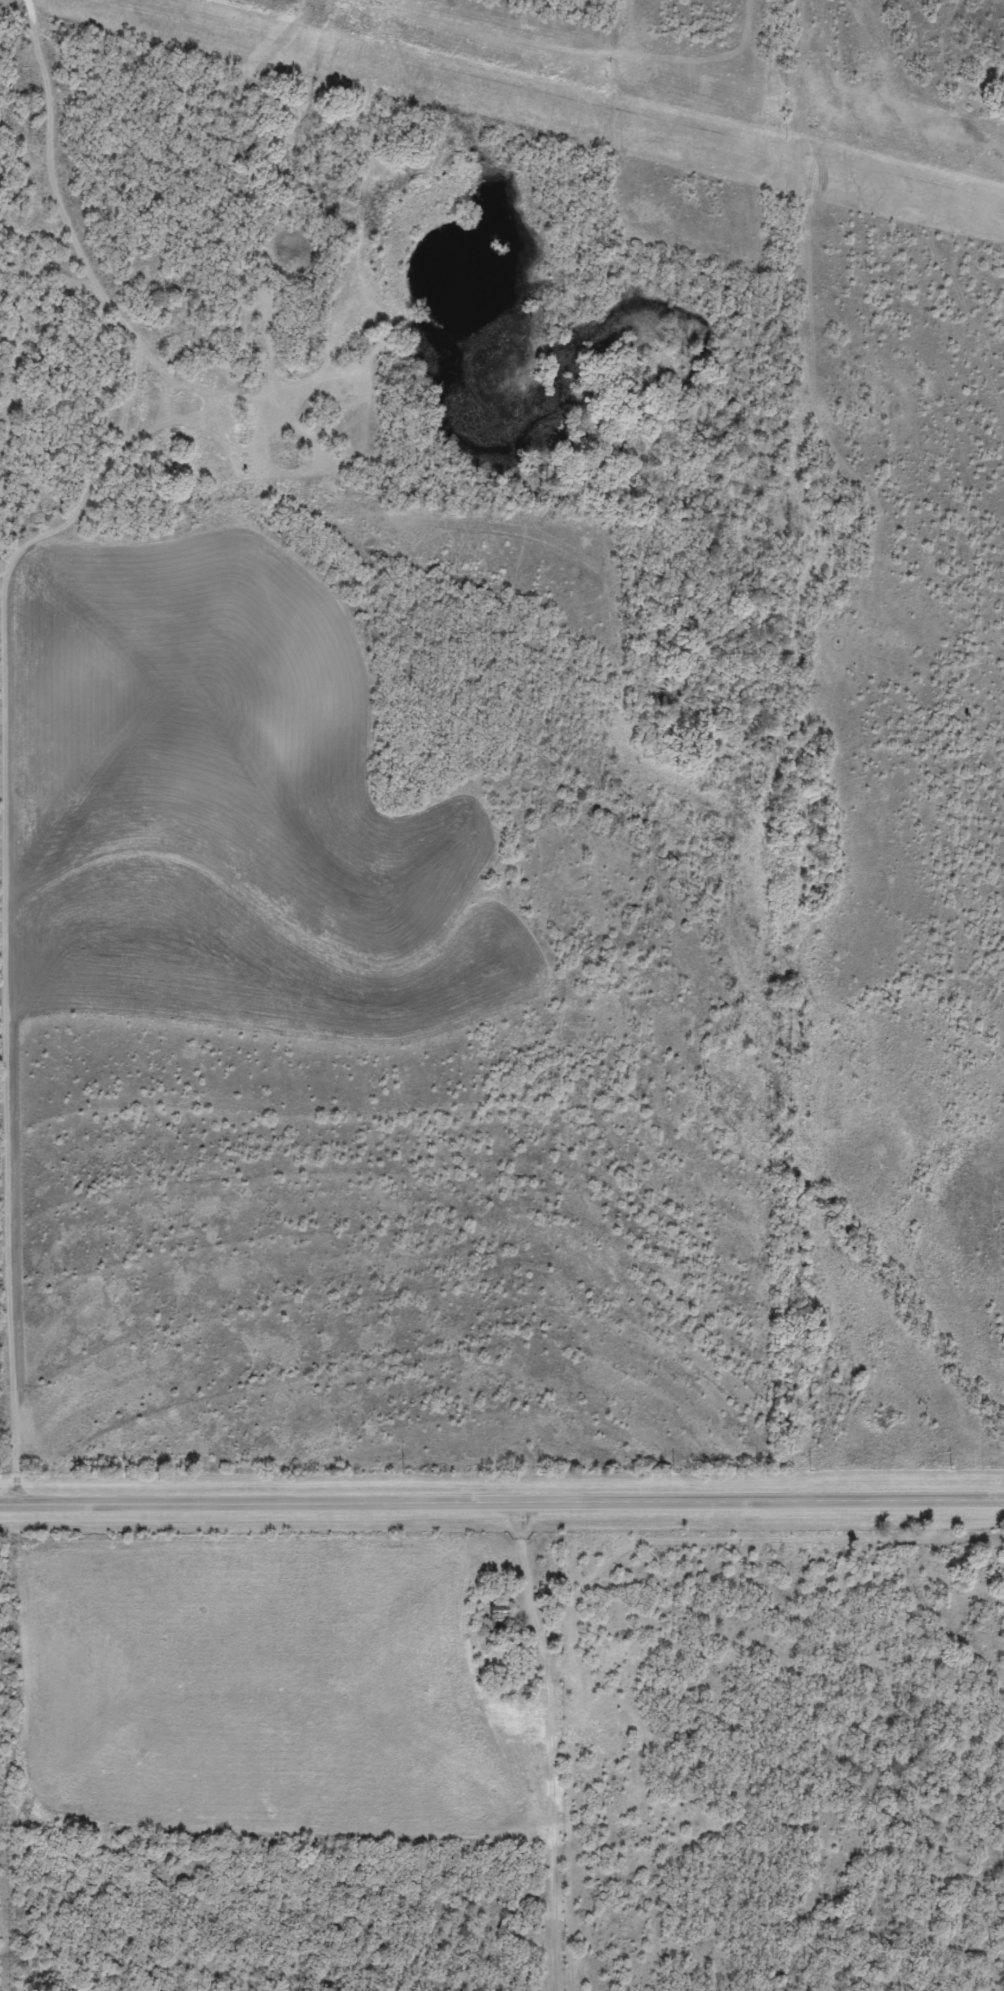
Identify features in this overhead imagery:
road: (502, 1505)
road: (525, 1557)

